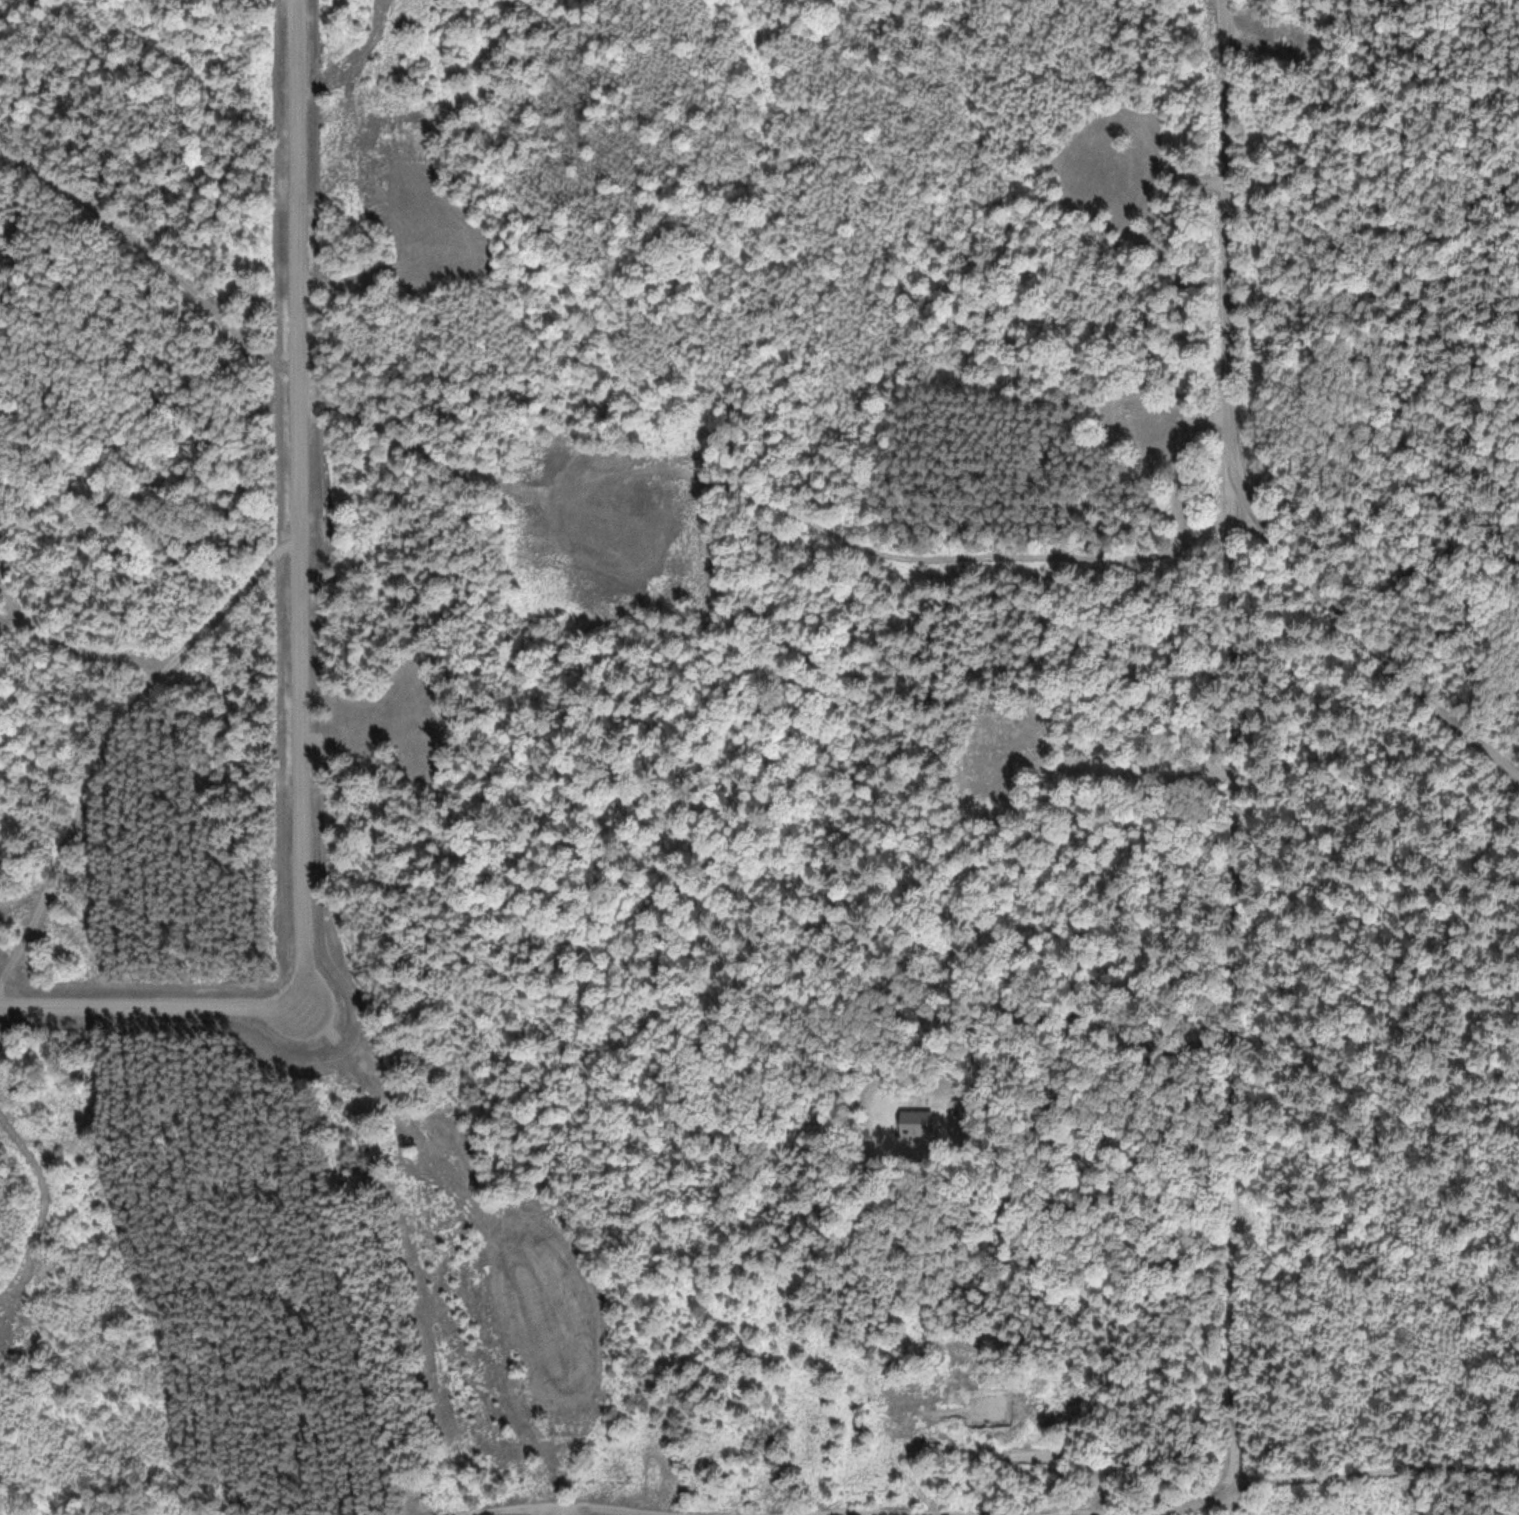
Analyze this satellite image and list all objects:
road: (156, 264)
road: (1232, 448)
road: (305, 657)
road: (1236, 987)
road: (1336, 1461)
road: (1234, 1501)
road: (549, 1505)
road: (958, 1513)

